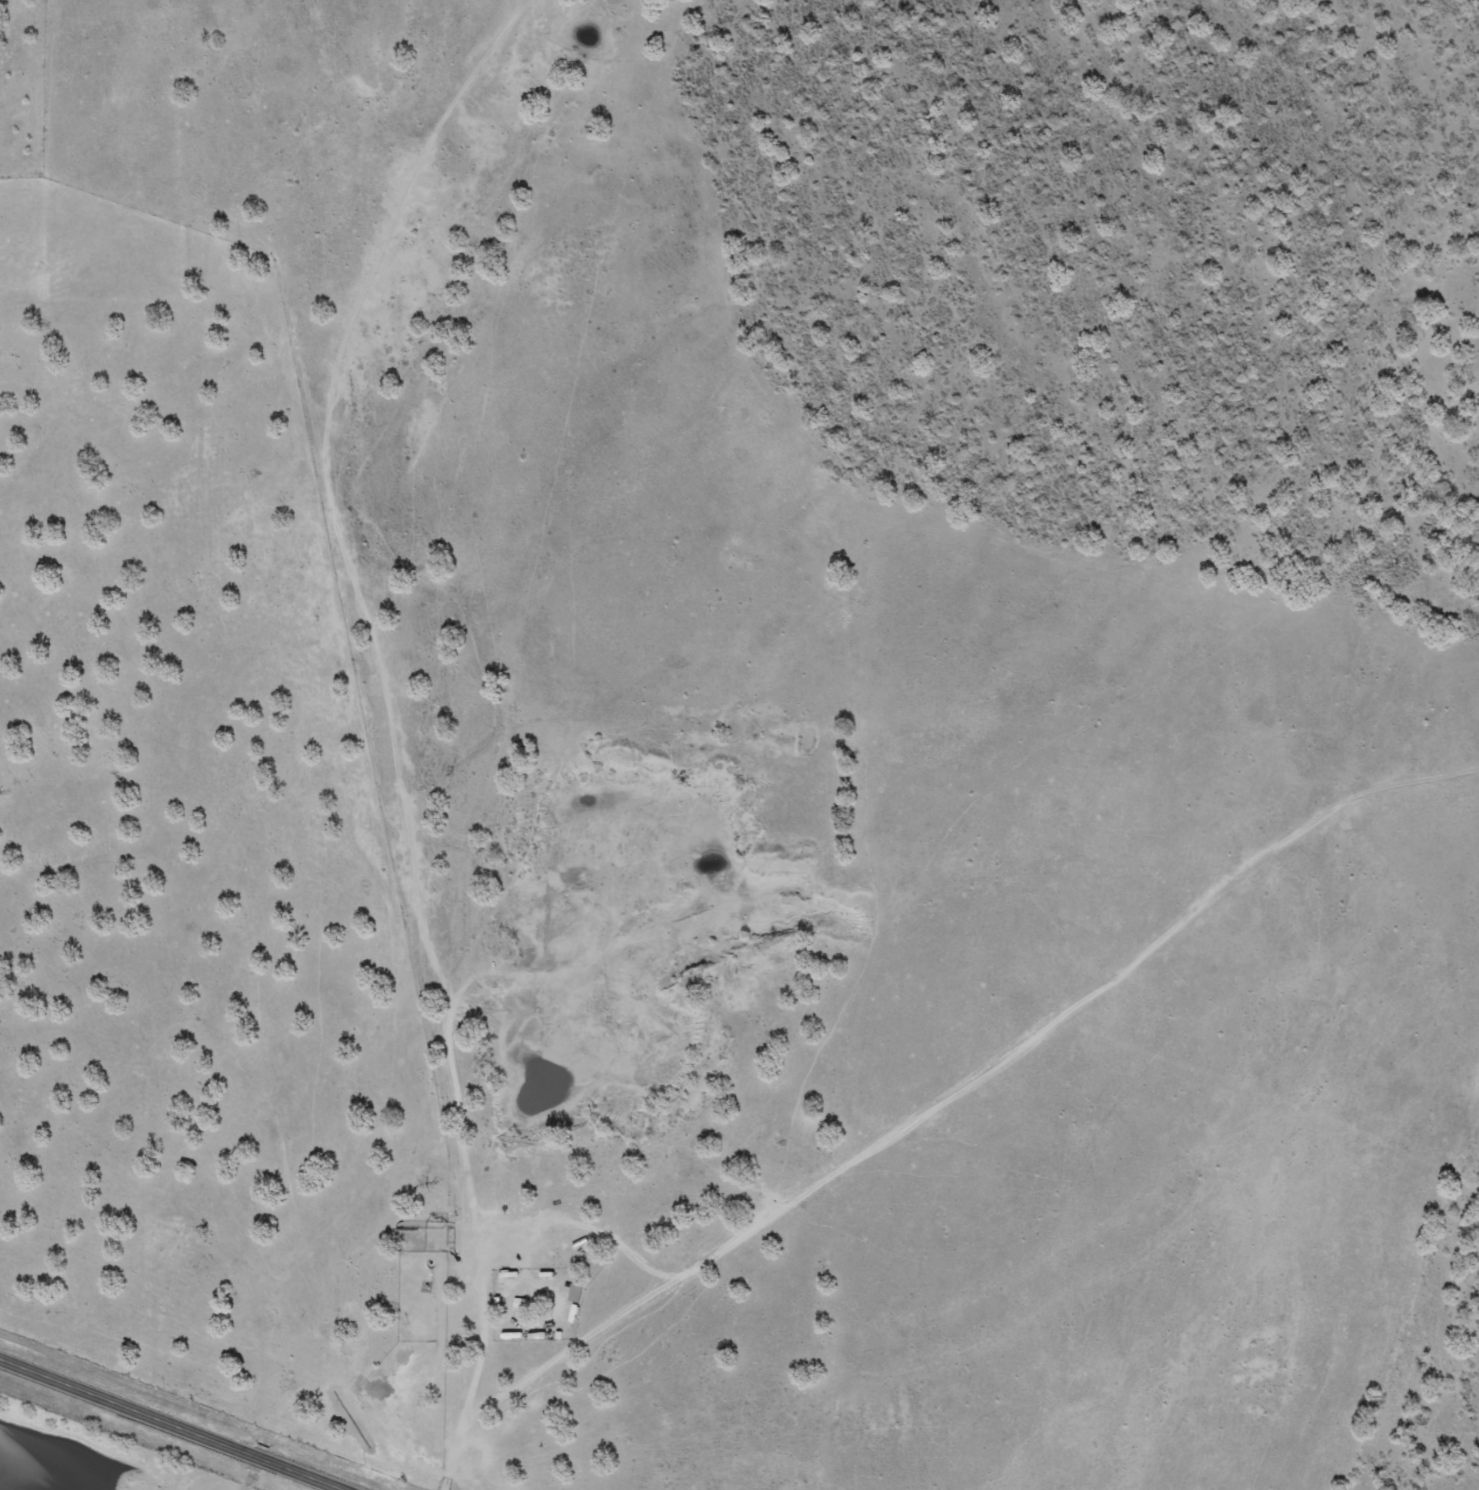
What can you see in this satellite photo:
road: (955, 1108)
road: (481, 1251)
building: (520, 1305)
road: (180, 1421)

